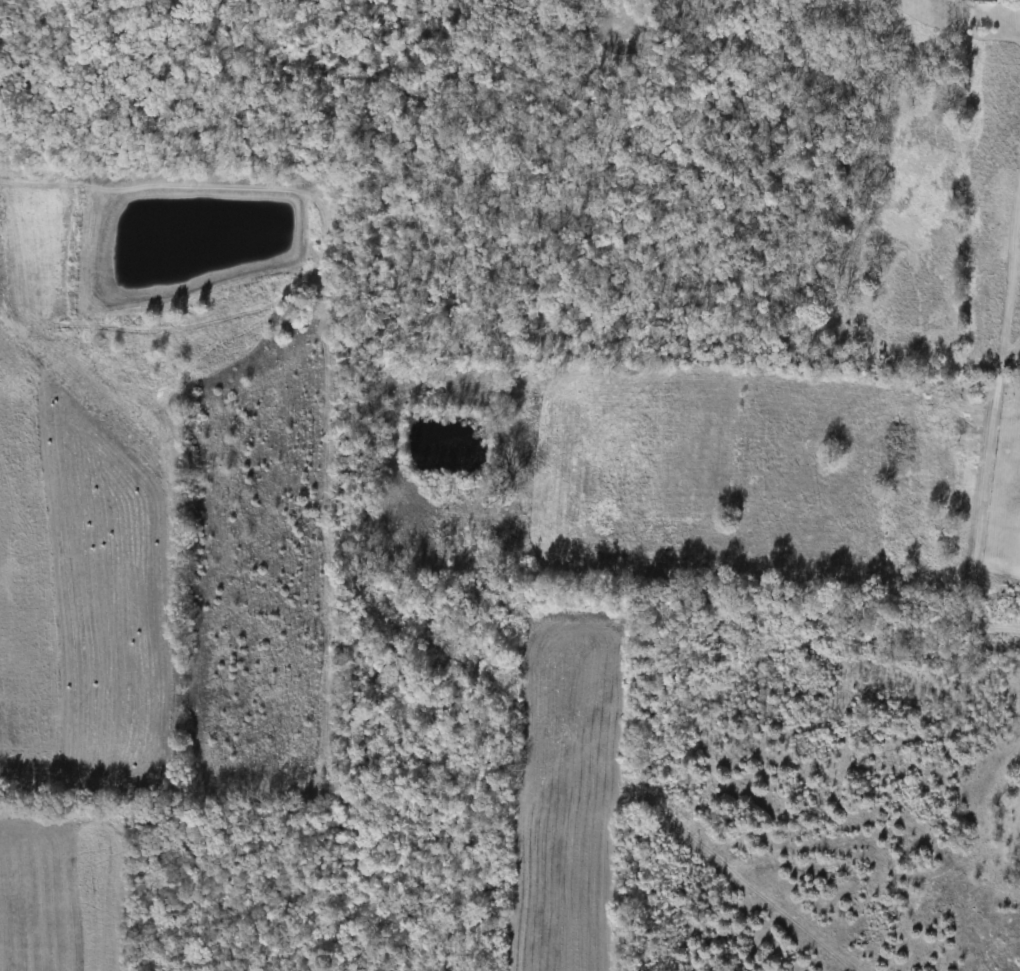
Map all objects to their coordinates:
building: (980, 1)

